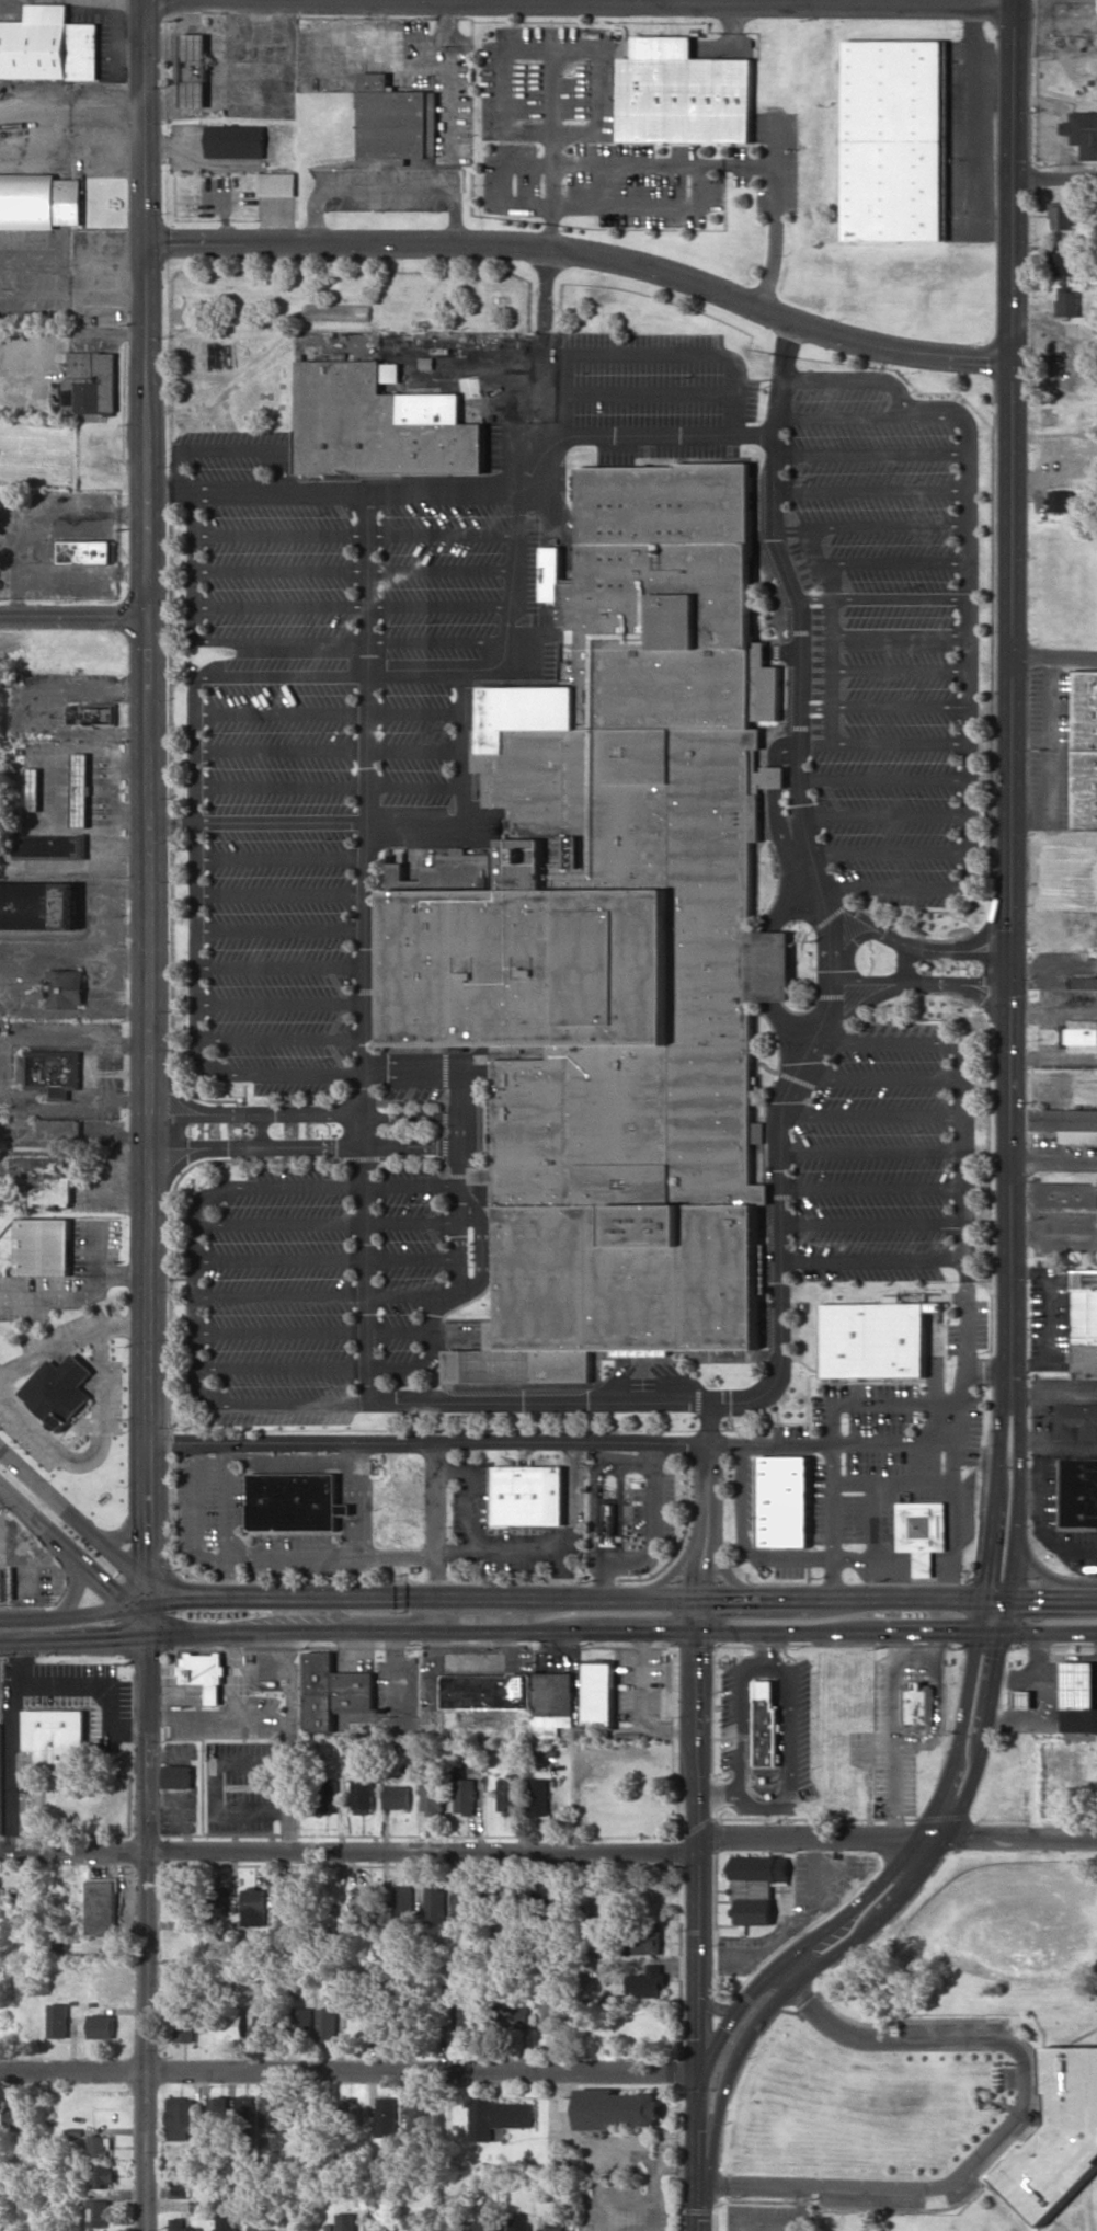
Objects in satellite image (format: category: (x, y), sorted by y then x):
road: (578, 2)
building: (49, 45)
building: (194, 70)
building: (683, 93)
building: (396, 119)
road: (144, 122)
building: (1082, 133)
building: (895, 139)
building: (236, 140)
road: (1053, 178)
road: (1010, 180)
building: (276, 183)
building: (39, 201)
building: (1063, 215)
road: (584, 256)
building: (1061, 263)
building: (1067, 301)
building: (338, 312)
road: (647, 351)
road: (853, 377)
building: (91, 382)
road: (651, 392)
building: (382, 423)
road: (147, 430)
road: (968, 436)
road: (230, 449)
road: (887, 487)
road: (443, 490)
building: (1061, 501)
parking lot: (526, 502)
road: (888, 524)
road: (442, 531)
road: (258, 534)
building: (84, 551)
road: (819, 560)
road: (893, 561)
road: (262, 570)
road: (439, 570)
road: (813, 597)
road: (898, 597)
road: (262, 605)
road: (437, 605)
road: (73, 615)
parking lot: (890, 631)
road: (898, 632)
road: (967, 632)
road: (800, 634)
road: (436, 638)
road: (263, 639)
road: (1054, 661)
road: (830, 668)
road: (899, 670)
road: (815, 707)
road: (899, 707)
road: (279, 710)
road: (416, 710)
building: (94, 714)
road: (191, 725)
road: (898, 742)
road: (418, 747)
road: (279, 748)
building: (1085, 751)
road: (882, 779)
road: (279, 782)
road: (418, 782)
building: (34, 789)
building: (82, 789)
road: (467, 792)
road: (884, 815)
road: (279, 821)
parking lot: (899, 830)
road: (967, 831)
road: (368, 836)
building: (52, 846)
road: (889, 850)
road: (279, 858)
road: (893, 885)
road: (279, 894)
building: (39, 905)
road: (279, 930)
building: (620, 931)
road: (921, 946)
road: (279, 966)
road: (830, 968)
road: (919, 983)
building: (1084, 983)
building: (66, 987)
road: (1008, 996)
road: (281, 1000)
building: (1081, 1034)
parking lot: (324, 1036)
road: (281, 1039)
road: (888, 1042)
building: (54, 1073)
road: (878, 1078)
road: (149, 1098)
road: (307, 1112)
road: (871, 1115)
building: (1067, 1123)
building: (62, 1129)
road: (305, 1146)
road: (871, 1152)
road: (961, 1152)
parking lot: (884, 1158)
road: (1052, 1166)
building: (45, 1180)
road: (320, 1187)
road: (871, 1187)
building: (1067, 1194)
road: (330, 1222)
road: (871, 1223)
building: (44, 1246)
road: (484, 1248)
road: (329, 1260)
road: (871, 1260)
building: (763, 1283)
road: (197, 1295)
road: (320, 1295)
road: (77, 1296)
building: (1083, 1306)
road: (784, 1312)
road: (315, 1330)
building: (875, 1340)
road: (355, 1366)
building: (60, 1391)
road: (541, 1403)
road: (274, 1404)
building: (1075, 1421)
road: (431, 1441)
building: (1077, 1492)
building: (529, 1496)
building: (296, 1501)
building: (786, 1502)
road: (73, 1517)
road: (30, 1518)
building: (612, 1523)
road: (129, 1531)
building: (921, 1531)
traffic signals: (149, 1544)
road: (675, 1571)
road: (98, 1576)
road: (732, 1576)
traffic signals: (999, 1577)
traffic signals: (701, 1579)
traffic signals: (112, 1587)
road: (76, 1591)
road: (149, 1592)
road: (179, 1593)
traffic signals: (192, 1597)
road: (654, 1597)
traffic signals: (727, 1597)
traffic signals: (1031, 1599)
road: (180, 1600)
traffic signals: (182, 1600)
road: (142, 1605)
road: (149, 1610)
road: (142, 1611)
road: (68, 1616)
road: (149, 1626)
road: (170, 1626)
road: (622, 1632)
traffic signals: (669, 1632)
traffic signals: (953, 1632)
traffic signals: (118, 1638)
road: (73, 1640)
traffic signals: (699, 1651)
traffic signals: (149, 1654)
traffic signals: (987, 1655)
building: (204, 1672)
building: (1078, 1684)
building: (332, 1691)
building: (489, 1691)
building: (599, 1693)
building: (1025, 1700)
building: (555, 1703)
building: (917, 1703)
building: (1078, 1723)
building: (768, 1724)
building: (56, 1735)
building: (1, 1774)
building: (179, 1776)
building: (511, 1794)
building: (330, 1795)
building: (364, 1795)
building: (435, 1796)
building: (467, 1796)
building: (541, 1796)
building: (399, 1797)
road: (936, 1827)
road: (696, 1833)
road: (550, 1853)
building: (287, 1898)
building: (181, 1900)
building: (217, 1901)
building: (468, 1903)
building: (436, 1904)
building: (254, 1906)
building: (102, 1907)
building: (367, 1907)
building: (402, 1907)
road: (147, 1934)
building: (647, 1941)
building: (649, 1982)
road: (713, 2009)
road: (736, 2011)
building: (60, 2020)
building: (464, 2022)
building: (302, 2023)
building: (328, 2024)
building: (103, 2026)
building: (186, 2026)
building: (232, 2026)
traffic signals: (724, 2029)
traffic signals: (696, 2032)
road: (892, 2039)
road: (348, 2069)
traffic signals: (675, 2071)
road: (729, 2071)
building: (247, 2107)
building: (353, 2107)
building: (615, 2108)
building: (219, 2110)
building: (274, 2112)
building: (15, 2115)
building: (387, 2116)
building: (499, 2117)
building: (182, 2118)
building: (418, 2119)
road: (697, 2129)
traffic signals: (698, 2130)
building: (1059, 2136)
building: (101, 2146)
building: (103, 2174)
building: (183, 2188)
road: (907, 2189)
road: (698, 2209)
building: (99, 2212)
building: (346, 2221)
building: (521, 2222)
building: (227, 2223)
building: (487, 2223)
building: (182, 2226)
building: (551, 2226)
building: (261, 2228)

